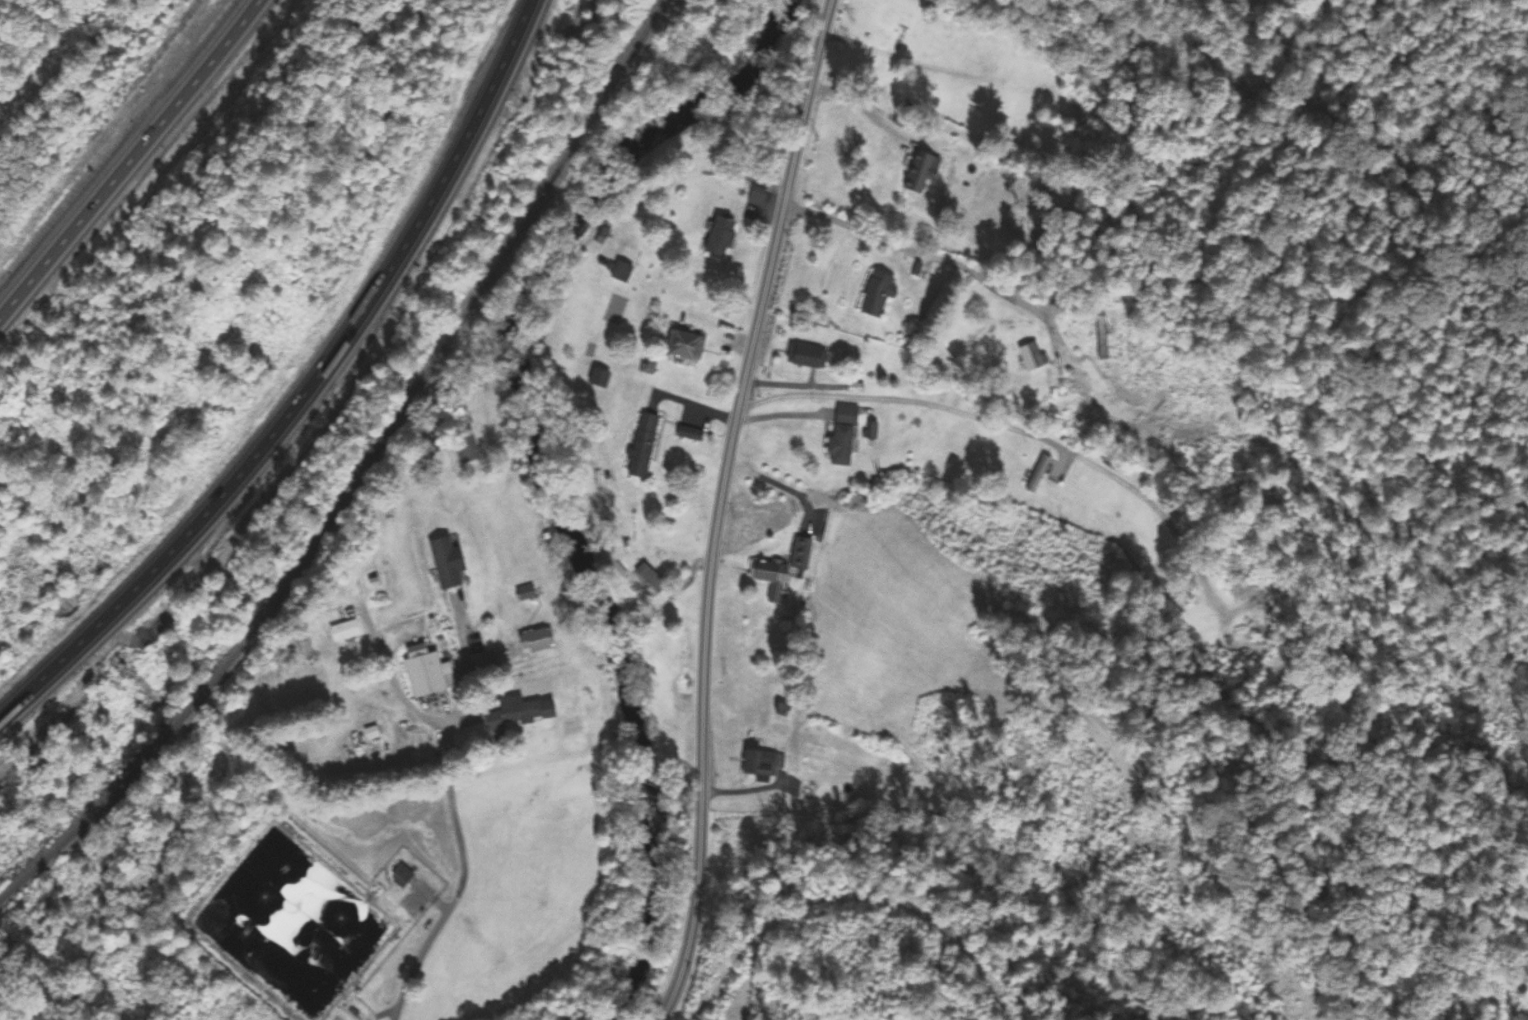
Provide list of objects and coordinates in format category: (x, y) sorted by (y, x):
building: (897, 20)
road: (126, 154)
building: (918, 173)
building: (720, 237)
building: (622, 272)
building: (876, 295)
building: (1101, 337)
building: (683, 346)
building: (803, 356)
building: (1032, 357)
building: (599, 378)
road: (308, 389)
road: (906, 402)
building: (843, 434)
building: (642, 445)
building: (465, 446)
river: (539, 470)
railway: (364, 473)
building: (1037, 474)
road: (772, 484)
road: (715, 507)
building: (802, 554)
building: (444, 563)
building: (771, 579)
building: (651, 580)
building: (343, 632)
building: (535, 641)
building: (427, 672)
road: (393, 676)
building: (520, 713)
building: (371, 733)
building: (762, 763)
road: (454, 816)
building: (401, 877)

